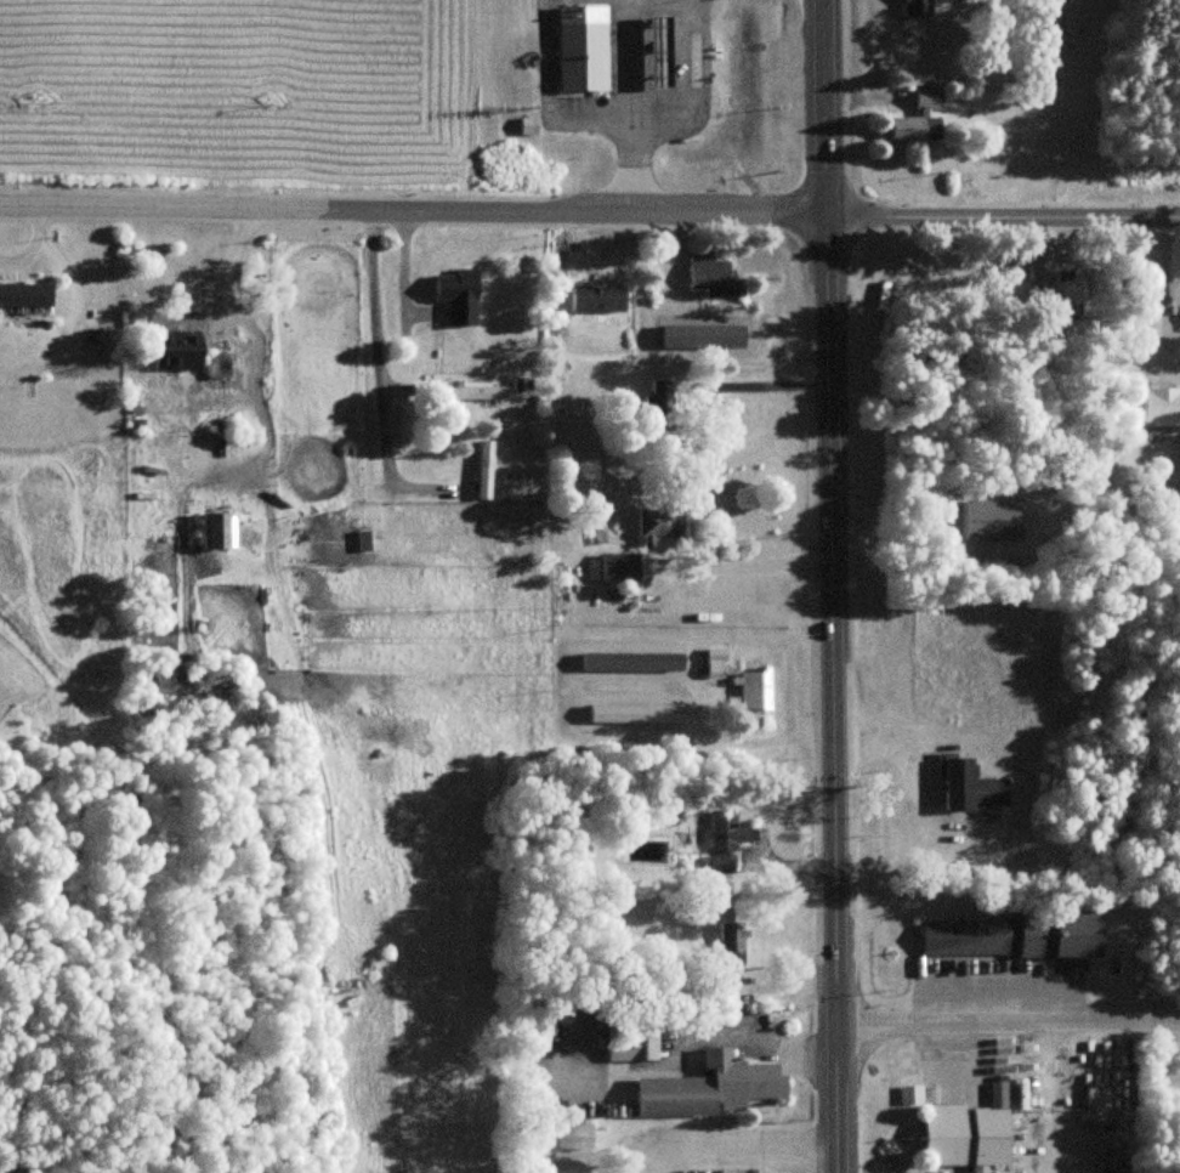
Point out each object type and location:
building: (918, 8)
building: (660, 50)
building: (582, 53)
building: (918, 119)
road: (589, 211)
building: (1034, 262)
building: (711, 276)
building: (24, 293)
building: (455, 294)
building: (703, 335)
road: (374, 348)
building: (177, 350)
building: (216, 364)
building: (657, 403)
building: (1159, 407)
building: (483, 467)
building: (659, 522)
building: (217, 529)
building: (618, 566)
road: (830, 585)
building: (630, 663)
building: (754, 686)
building: (634, 713)
building: (968, 784)
building: (726, 841)
building: (987, 935)
building: (730, 942)
road: (1008, 986)
building: (632, 1045)
building: (708, 1087)
building: (575, 1135)
building: (966, 1135)

